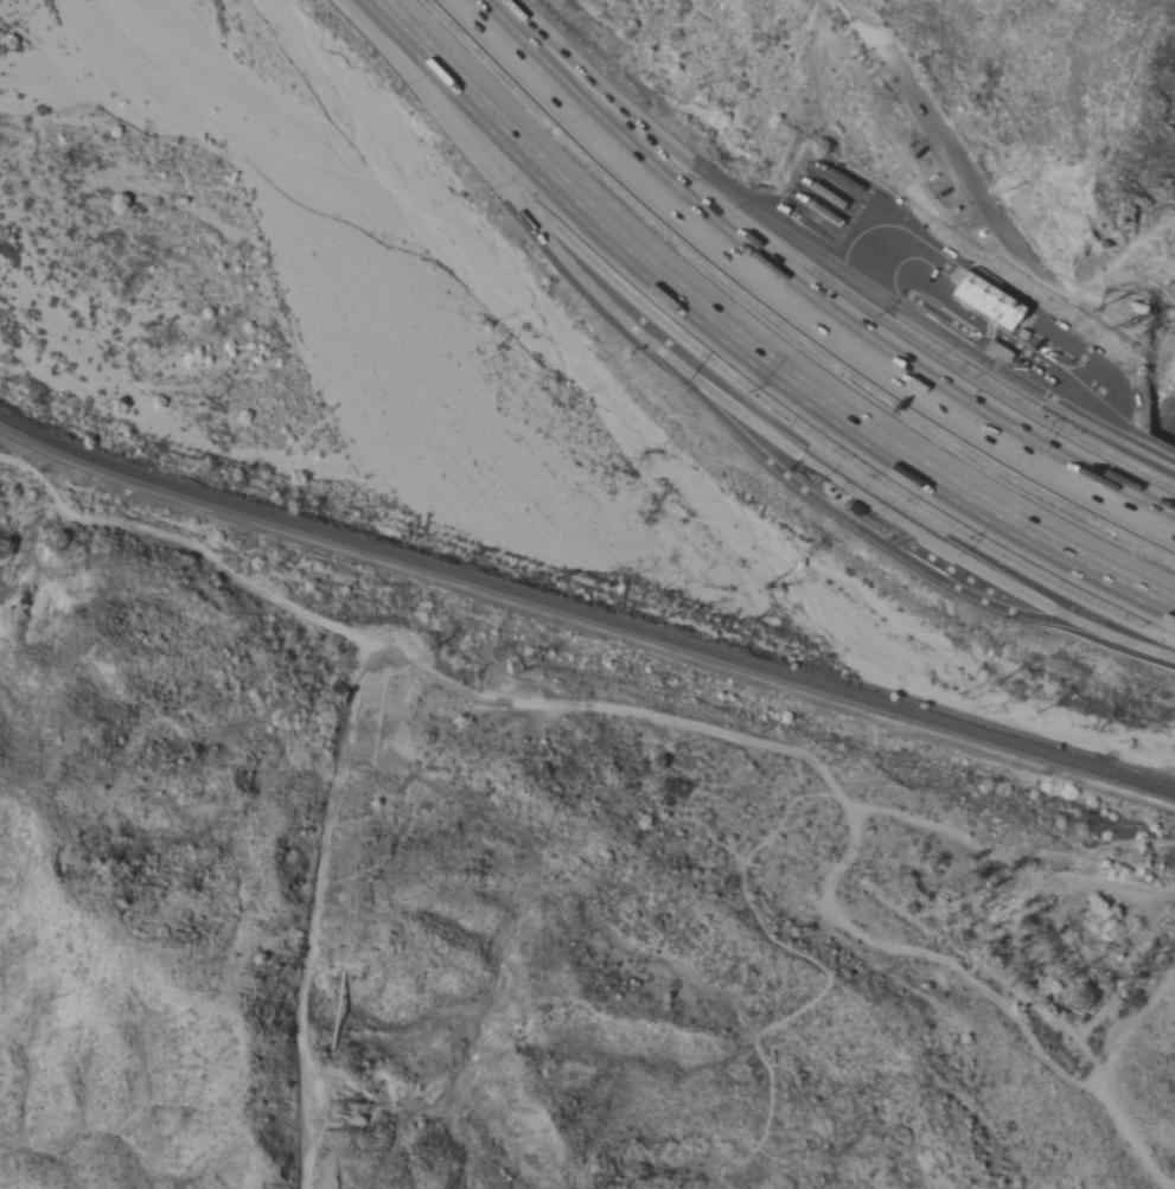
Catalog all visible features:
road: (624, 111)
road: (964, 158)
road: (500, 185)
road: (898, 245)
road: (1135, 255)
road: (1141, 279)
road: (994, 295)
road: (796, 299)
building: (990, 301)
railway: (766, 327)
road: (937, 330)
road: (998, 333)
road: (745, 346)
road: (1091, 357)
road: (1164, 401)
road: (1151, 450)
road: (886, 501)
road: (866, 533)
railway: (585, 615)
road: (1145, 647)
road: (409, 661)
road: (753, 843)
road: (313, 913)
road: (978, 987)
road: (1048, 996)

